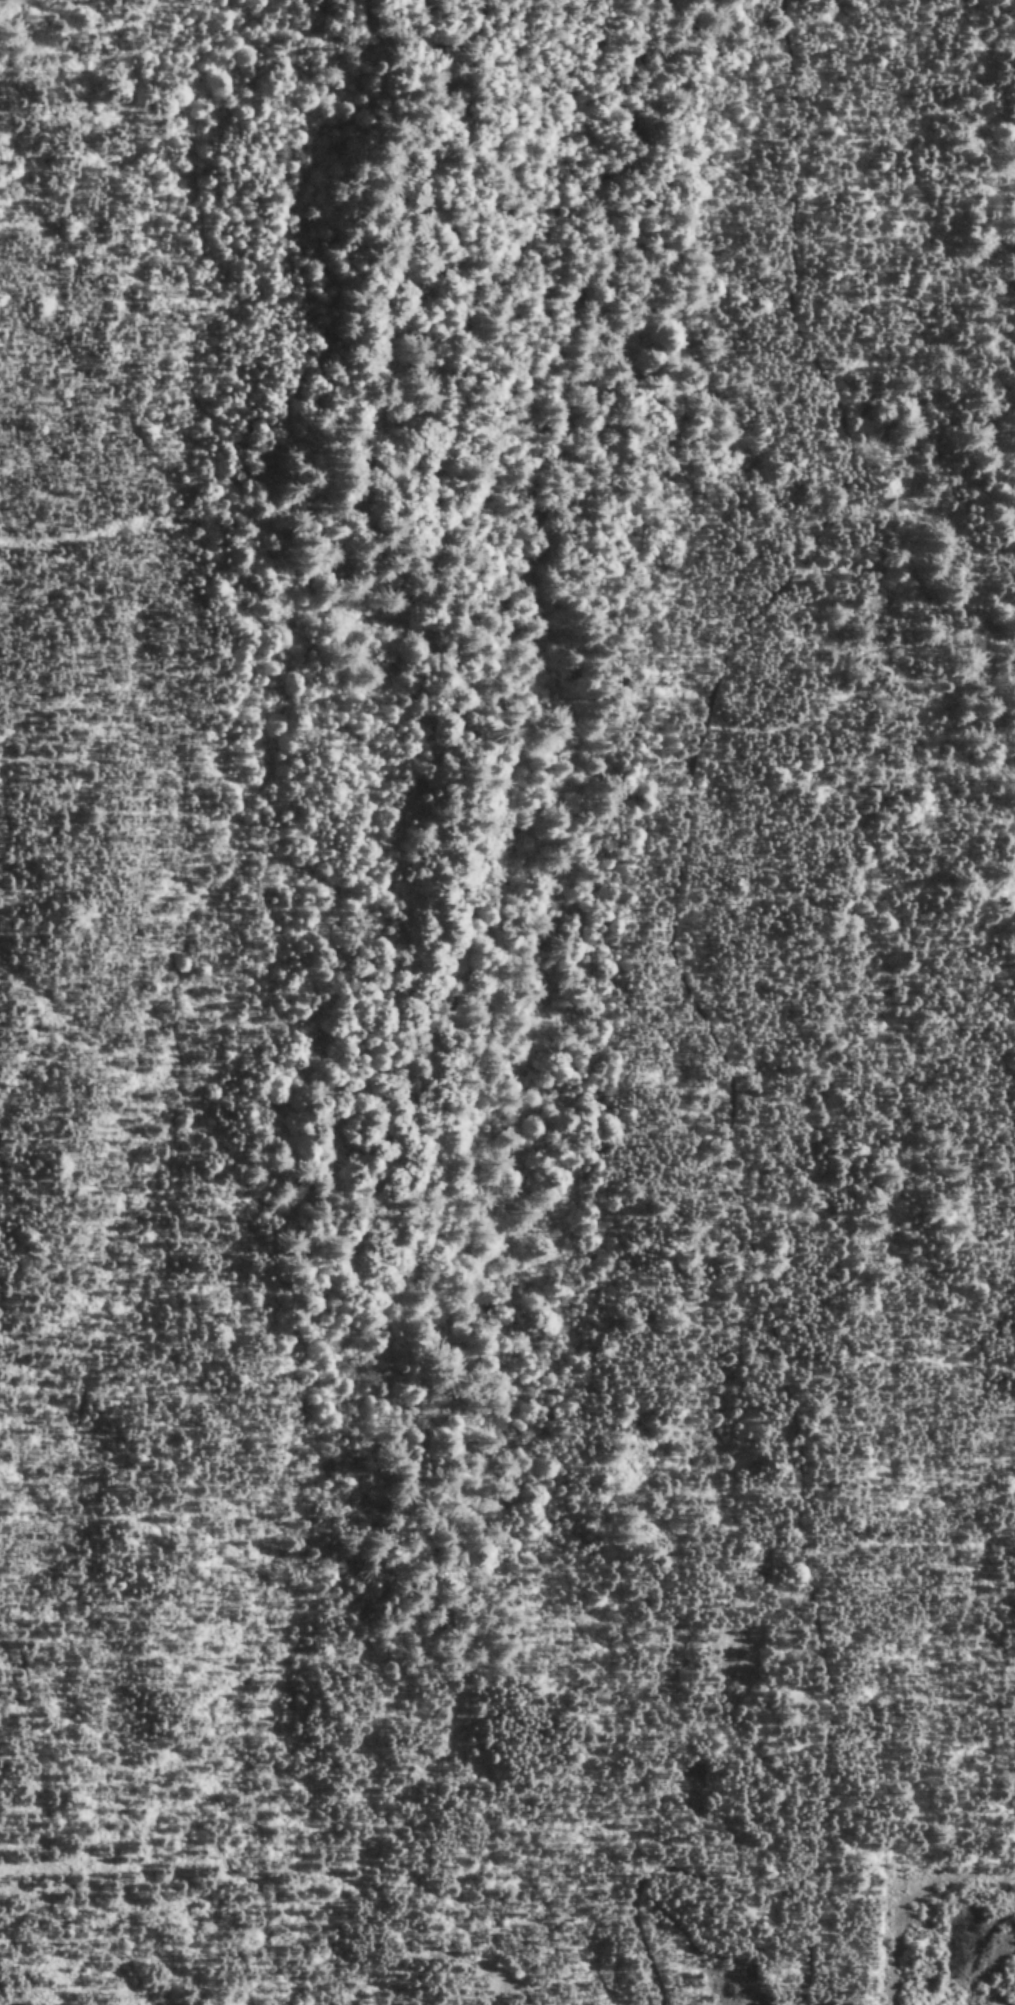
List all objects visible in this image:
road: (722, 1061)

